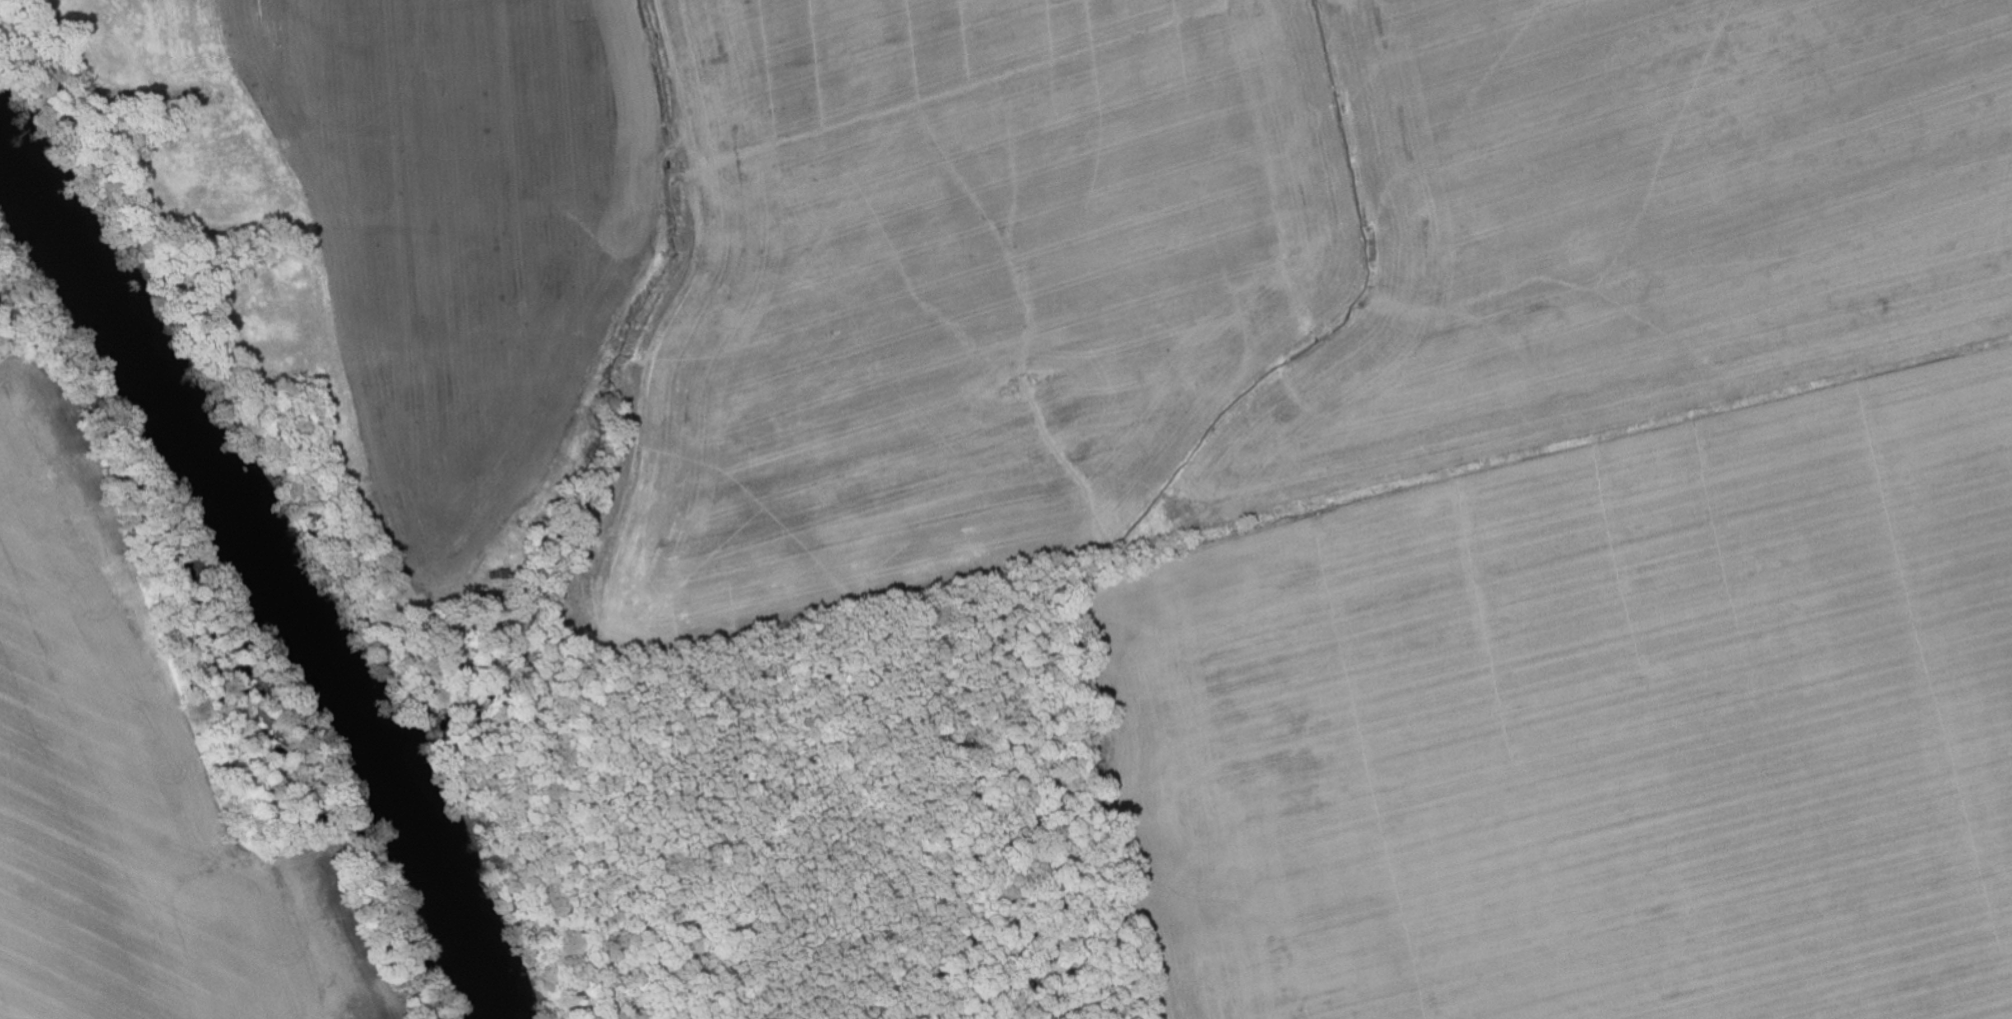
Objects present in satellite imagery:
river: (267, 584)

